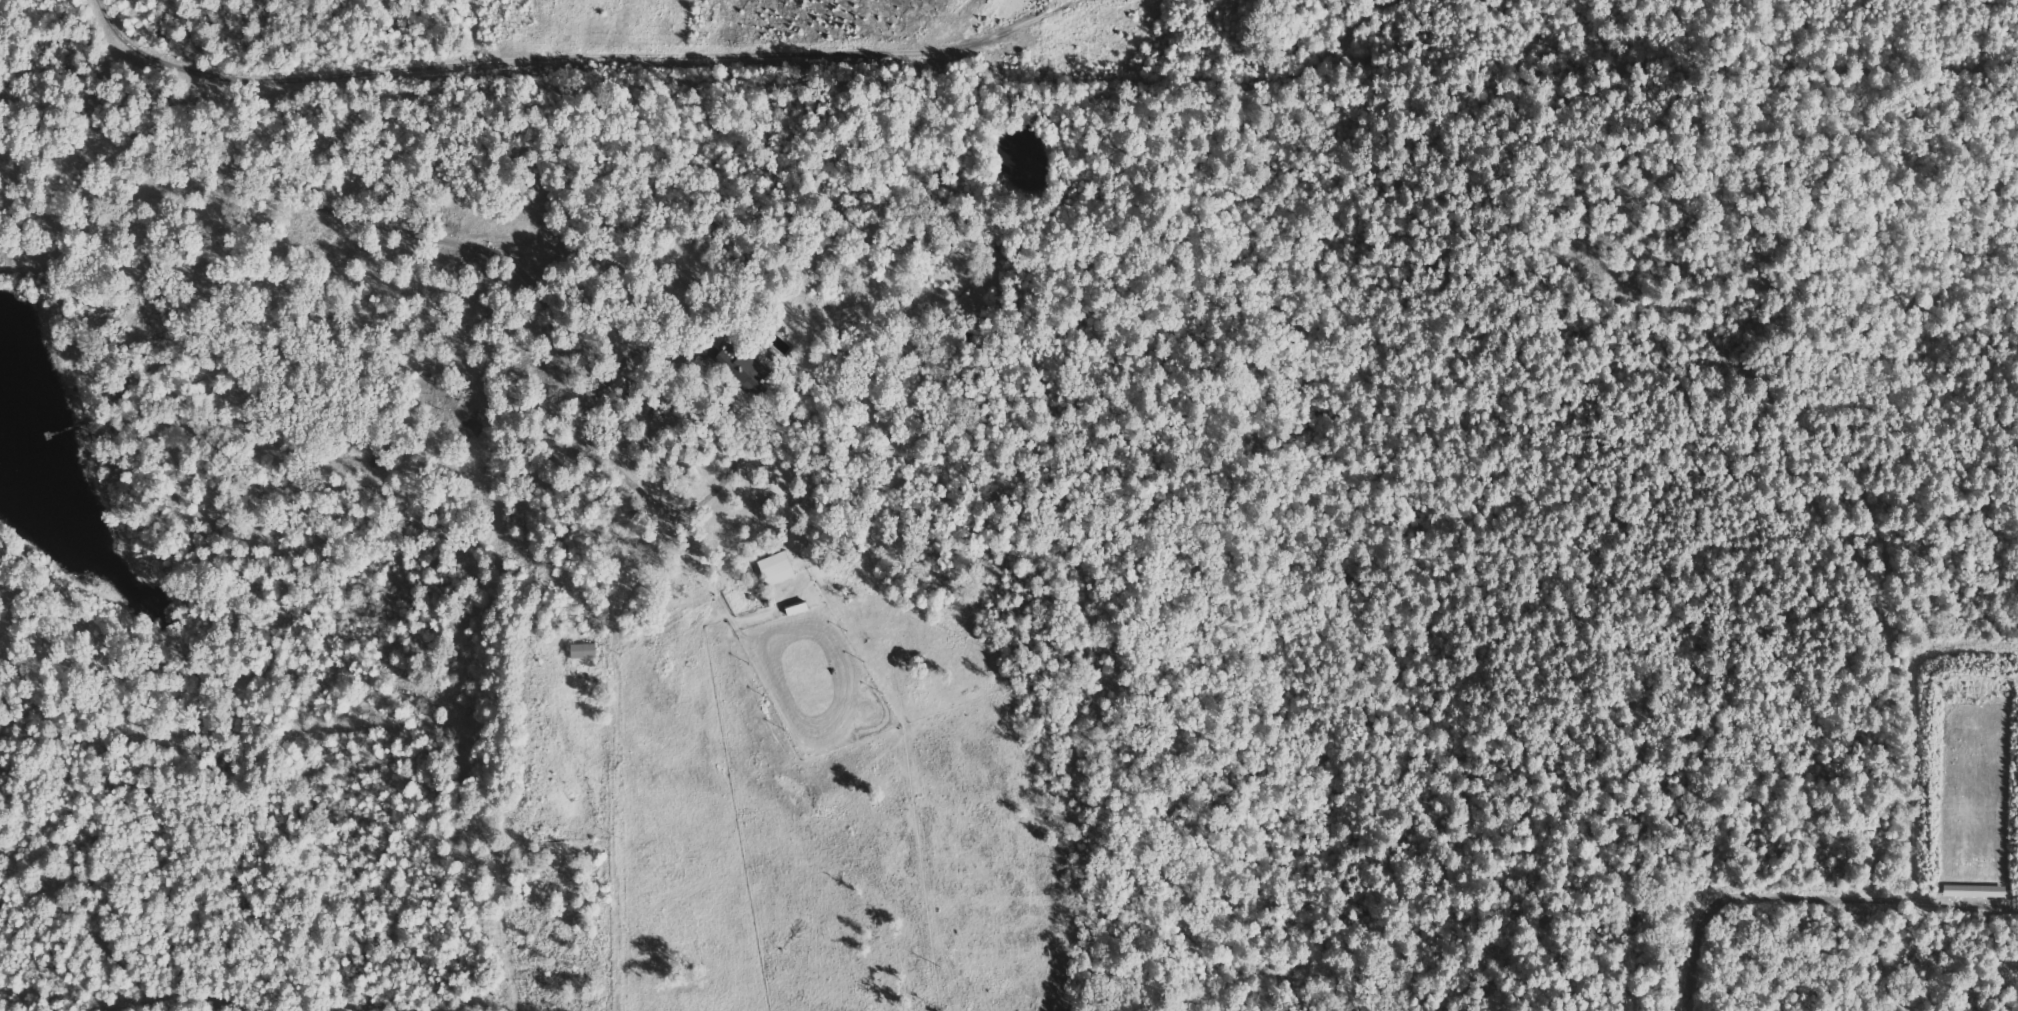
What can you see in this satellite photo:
building: (745, 368)
building: (773, 568)
building: (581, 651)
building: (1972, 891)

